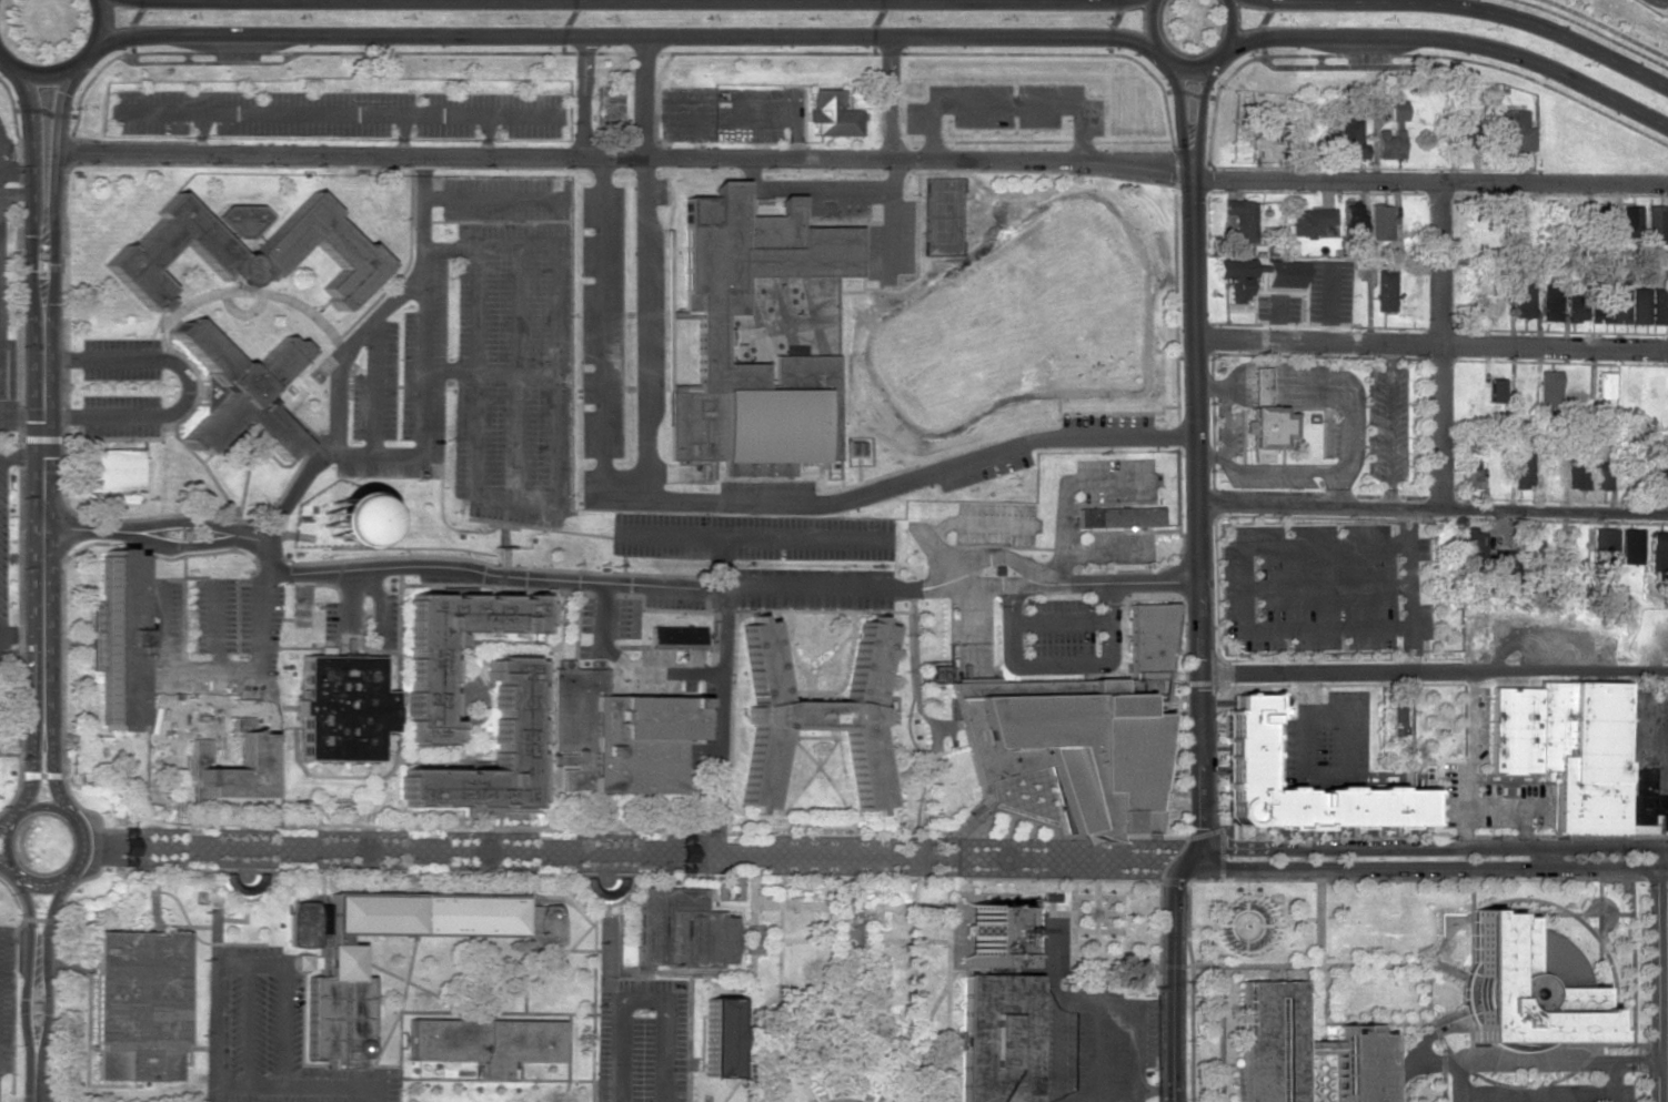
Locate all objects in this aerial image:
road: (626, 0)
road: (1469, 9)
road: (100, 27)
road: (1606, 29)
road: (625, 36)
road: (1450, 41)
road: (0, 57)
road: (0, 57)
road: (1189, 68)
road: (46, 74)
road: (584, 98)
road: (642, 98)
road: (887, 99)
road: (1004, 105)
road: (1200, 105)
road: (1179, 107)
parking lot: (1004, 108)
building: (1397, 110)
parking lot: (336, 113)
road: (339, 113)
parking lot: (727, 113)
building: (831, 114)
road: (751, 115)
building: (1510, 131)
road: (201, 133)
building: (1466, 134)
road: (401, 135)
building: (1349, 135)
road: (488, 137)
road: (58, 143)
building: (1387, 143)
road: (32, 144)
road: (863, 162)
road: (16, 172)
road: (808, 189)
building: (660, 192)
road: (494, 199)
parking lot: (838, 205)
building: (1602, 211)
park: (943, 216)
building: (1350, 216)
building: (1242, 219)
road: (891, 221)
building: (1309, 221)
building: (1630, 221)
building: (1379, 222)
building: (1655, 224)
parking lot: (892, 241)
building: (348, 250)
building: (1284, 274)
building: (1235, 279)
building: (1384, 290)
building: (1523, 294)
building: (1576, 302)
building: (1550, 303)
building: (1618, 305)
building: (1639, 306)
building: (1659, 306)
road: (560, 310)
building: (1598, 312)
park: (1007, 314)
road: (659, 321)
parking lot: (602, 322)
road: (603, 331)
road: (643, 331)
building: (709, 335)
road: (1431, 344)
road: (1440, 345)
parking lot: (512, 347)
road: (423, 356)
road: (491, 374)
road: (516, 374)
road: (374, 386)
building: (1602, 386)
parking lot: (120, 387)
road: (189, 387)
building: (1548, 387)
building: (239, 391)
parking lot: (402, 391)
building: (1495, 391)
road: (474, 412)
road: (338, 414)
building: (1265, 419)
parking lot: (1106, 422)
road: (21, 456)
building: (115, 469)
building: (1523, 469)
building: (1657, 469)
parking lot: (984, 471)
building: (1469, 472)
building: (1576, 474)
building: (1599, 475)
road: (902, 477)
parking lot: (1115, 479)
road: (1064, 485)
parking lot: (764, 487)
road: (42, 493)
road: (1434, 508)
building: (1119, 517)
building: (340, 520)
parking lot: (1066, 522)
road: (979, 524)
parking lot: (994, 524)
water tower: (350, 525)
road: (751, 536)
road: (154, 537)
parking lot: (751, 537)
parking lot: (1119, 543)
building: (1474, 544)
road: (1326, 545)
building: (1630, 546)
building: (1602, 547)
parking lot: (1423, 548)
road: (934, 552)
road: (1107, 552)
building: (1658, 553)
road: (995, 557)
road: (721, 563)
building: (1503, 569)
parking lot: (808, 579)
road: (1244, 588)
parking lot: (1310, 588)
road: (1327, 588)
road: (732, 589)
road: (1409, 590)
parking lot: (673, 601)
road: (348, 606)
road: (378, 606)
road: (884, 610)
road: (559, 611)
parking lot: (586, 615)
parking lot: (621, 618)
parking lot: (330, 620)
building: (388, 621)
parking lot: (388, 621)
parking lot: (1424, 621)
road: (1059, 623)
road: (215, 626)
parking lot: (1059, 629)
road: (1327, 630)
road: (1200, 633)
road: (21, 634)
parking lot: (210, 635)
building: (113, 638)
building: (676, 638)
road: (502, 643)
parking lot: (585, 651)
road: (1059, 666)
road: (626, 667)
building: (424, 670)
building: (937, 671)
road: (210, 673)
road: (914, 674)
road: (1435, 674)
road: (723, 688)
road: (480, 690)
road: (1298, 691)
road: (1309, 691)
building: (342, 708)
building: (812, 715)
building: (1396, 716)
road: (459, 718)
road: (1350, 718)
road: (907, 722)
road: (278, 727)
building: (1087, 728)
building: (513, 731)
building: (617, 734)
road: (545, 736)
road: (395, 738)
parking lot: (1329, 744)
building: (1565, 747)
building: (254, 754)
road: (1468, 760)
road: (443, 761)
building: (1245, 765)
road: (821, 772)
road: (843, 772)
road: (810, 777)
road: (33, 778)
road: (53, 779)
road: (1320, 779)
building: (1646, 799)
road: (719, 800)
road: (44, 807)
road: (774, 809)
road: (18, 816)
road: (7, 823)
road: (810, 825)
road: (426, 827)
road: (906, 830)
road: (745, 832)
road: (4, 846)
road: (1429, 848)
road: (639, 851)
road: (77, 867)
road: (7, 869)
road: (1429, 869)
road: (19, 876)
building: (606, 891)
road: (542, 898)
road: (765, 903)
building: (681, 930)
road: (778, 931)
road: (1449, 931)
building: (995, 934)
road: (562, 950)
building: (1082, 952)
building: (301, 961)
road: (1320, 964)
road: (544, 969)
road: (947, 969)
road: (46, 973)
road: (1657, 974)
road: (33, 977)
road: (750, 981)
road: (13, 982)
road: (415, 985)
building: (1527, 985)
road: (1319, 991)
road: (214, 998)
parking lot: (6, 999)
road: (593, 1001)
road: (642, 1001)
road: (401, 1002)
road: (1097, 1003)
building: (138, 1004)
road: (1057, 1007)
building: (1243, 1012)
road: (510, 1013)
building: (338, 1018)
road: (1391, 1022)
road: (248, 1024)
road: (282, 1025)
parking lot: (1088, 1032)
road: (1220, 1033)
road: (915, 1035)
parking lot: (271, 1037)
building: (995, 1037)
building: (720, 1038)
parking lot: (642, 1040)
building: (1273, 1042)
building: (484, 1043)
building: (1319, 1044)
road: (781, 1047)
road: (1411, 1047)
road: (1096, 1052)
road: (400, 1056)
road: (567, 1058)
road: (1529, 1062)
building: (1359, 1065)
road: (381, 1066)
road: (1443, 1073)
road: (495, 1080)
road: (1458, 1082)
road: (1612, 1082)
road: (298, 1085)
road: (37, 1088)
road: (1535, 1093)
parking lot: (1543, 1093)
road: (843, 1096)
road: (10, 1101)
road: (1135, 1101)

